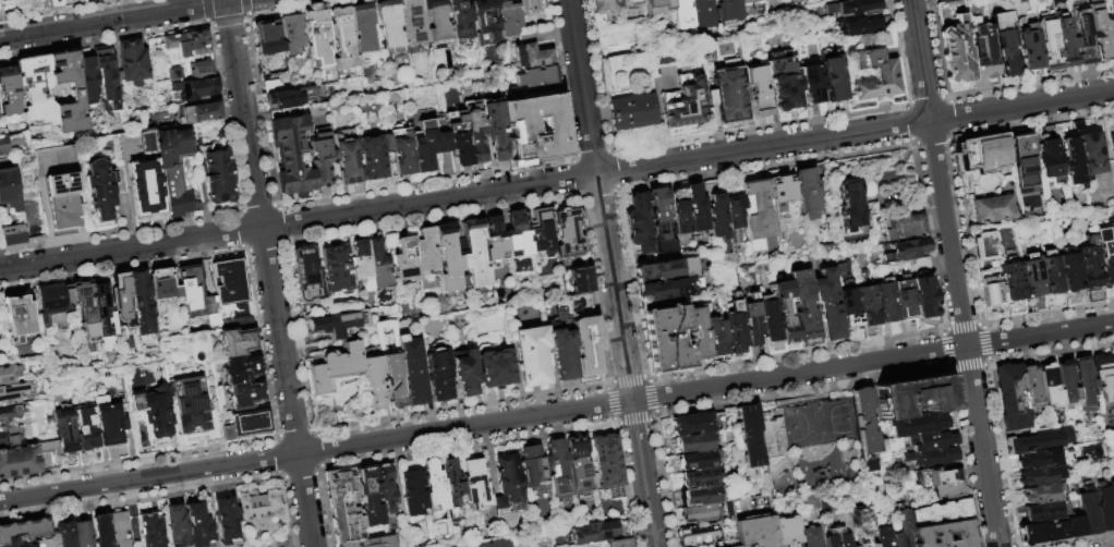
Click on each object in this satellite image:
building: (937, 0)
building: (947, 1)
building: (630, 2)
building: (752, 2)
building: (49, 3)
building: (1113, 5)
building: (605, 7)
building: (531, 8)
building: (661, 8)
building: (853, 9)
building: (732, 11)
building: (703, 14)
building: (485, 15)
building: (683, 15)
building: (508, 17)
road: (119, 19)
building: (459, 21)
building: (412, 23)
building: (436, 23)
building: (389, 26)
building: (862, 27)
building: (1113, 28)
building: (1100, 29)
building: (291, 33)
building: (319, 34)
building: (363, 34)
building: (342, 39)
building: (268, 40)
building: (1085, 41)
building: (1066, 42)
building: (1006, 44)
building: (187, 46)
building: (1051, 47)
building: (1031, 49)
building: (957, 52)
building: (983, 53)
building: (532, 57)
building: (133, 62)
building: (859, 62)
building: (191, 72)
building: (107, 75)
building: (87, 76)
building: (536, 78)
building: (835, 78)
building: (877, 78)
building: (784, 83)
building: (813, 86)
building: (195, 89)
building: (9, 90)
building: (36, 90)
building: (76, 90)
building: (758, 93)
building: (728, 94)
building: (292, 101)
building: (685, 105)
building: (632, 112)
building: (198, 113)
building: (496, 129)
building: (554, 129)
building: (474, 130)
building: (458, 136)
building: (427, 139)
building: (319, 143)
building: (3, 144)
building: (386, 145)
building: (401, 149)
building: (1111, 149)
building: (1090, 154)
building: (0, 155)
building: (291, 155)
building: (969, 155)
building: (991, 155)
building: (371, 158)
building: (1049, 159)
building: (55, 160)
building: (347, 161)
building: (1071, 162)
building: (169, 165)
building: (1022, 165)
building: (215, 173)
building: (390, 175)
road: (556, 180)
building: (61, 184)
building: (144, 187)
building: (102, 189)
building: (9, 190)
building: (808, 191)
building: (782, 202)
building: (851, 206)
building: (698, 209)
building: (991, 210)
building: (63, 211)
building: (734, 211)
building: (680, 214)
building: (759, 217)
building: (663, 221)
building: (718, 221)
building: (641, 224)
building: (905, 229)
building: (541, 230)
building: (568, 233)
building: (12, 235)
building: (518, 236)
building: (495, 240)
building: (984, 247)
building: (906, 251)
building: (427, 253)
building: (474, 254)
building: (448, 258)
building: (405, 259)
building: (1105, 260)
building: (378, 265)
building: (689, 268)
building: (362, 269)
building: (337, 270)
building: (306, 271)
road: (953, 272)
building: (1089, 272)
road: (268, 273)
road: (610, 273)
building: (1069, 277)
building: (580, 280)
building: (1050, 281)
building: (682, 282)
building: (1031, 282)
building: (230, 284)
building: (1012, 284)
building: (192, 287)
building: (923, 289)
building: (162, 290)
building: (993, 296)
building: (905, 299)
building: (123, 302)
building: (886, 302)
building: (52, 303)
building: (141, 303)
building: (855, 304)
building: (827, 306)
building: (803, 308)
building: (86, 312)
building: (104, 312)
building: (785, 314)
building: (751, 321)
building: (21, 323)
building: (339, 324)
building: (770, 324)
building: (736, 331)
building: (698, 336)
building: (716, 337)
building: (667, 340)
building: (238, 342)
building: (585, 343)
building: (561, 345)
building: (530, 355)
building: (1113, 360)
building: (494, 365)
building: (335, 367)
building: (413, 369)
building: (241, 370)
building: (464, 370)
building: (9, 374)
building: (438, 375)
building: (1104, 376)
building: (393, 380)
building: (1085, 381)
building: (373, 382)
building: (1050, 386)
building: (1067, 386)
building: (1031, 387)
building: (14, 392)
building: (246, 396)
building: (912, 397)
building: (1012, 398)
building: (187, 404)
building: (153, 411)
road: (557, 412)
building: (9, 415)
building: (862, 421)
building: (108, 422)
building: (690, 424)
building: (246, 425)
building: (913, 425)
park: (833, 433)
building: (747, 434)
park: (799, 434)
building: (9, 437)
building: (85, 437)
building: (64, 438)
building: (930, 440)
building: (1036, 443)
park: (810, 445)
building: (693, 446)
building: (47, 455)
building: (928, 458)
building: (1043, 460)
building: (606, 461)
building: (19, 462)
building: (865, 462)
building: (532, 466)
building: (579, 466)
building: (557, 467)
building: (695, 472)
building: (936, 476)
building: (1040, 477)
building: (434, 484)
building: (475, 486)
building: (508, 486)
building: (452, 488)
building: (385, 489)
building: (1113, 489)
building: (946, 493)
building: (413, 494)
building: (1044, 495)
building: (701, 496)
building: (368, 497)
building: (343, 506)
building: (1105, 509)
road: (746, 511)
building: (1046, 512)
building: (263, 513)
building: (1089, 513)
building: (698, 514)
building: (939, 514)
road: (818, 520)
building: (228, 523)
building: (198, 525)
building: (859, 525)
building: (178, 526)
building: (120, 528)
building: (901, 528)
building: (102, 531)
building: (152, 531)
building: (786, 532)
building: (24, 533)
building: (597, 533)
building: (755, 533)
building: (1051, 533)
building: (83, 534)
building: (65, 535)
building: (695, 535)
building: (944, 535)
building: (810, 537)
building: (882, 537)
building: (837, 538)
building: (371, 543)
building: (495, 543)
building: (619, 543)
building: (35, 545)
building: (435, 546)
building: (459, 546)
building: (541, 546)

